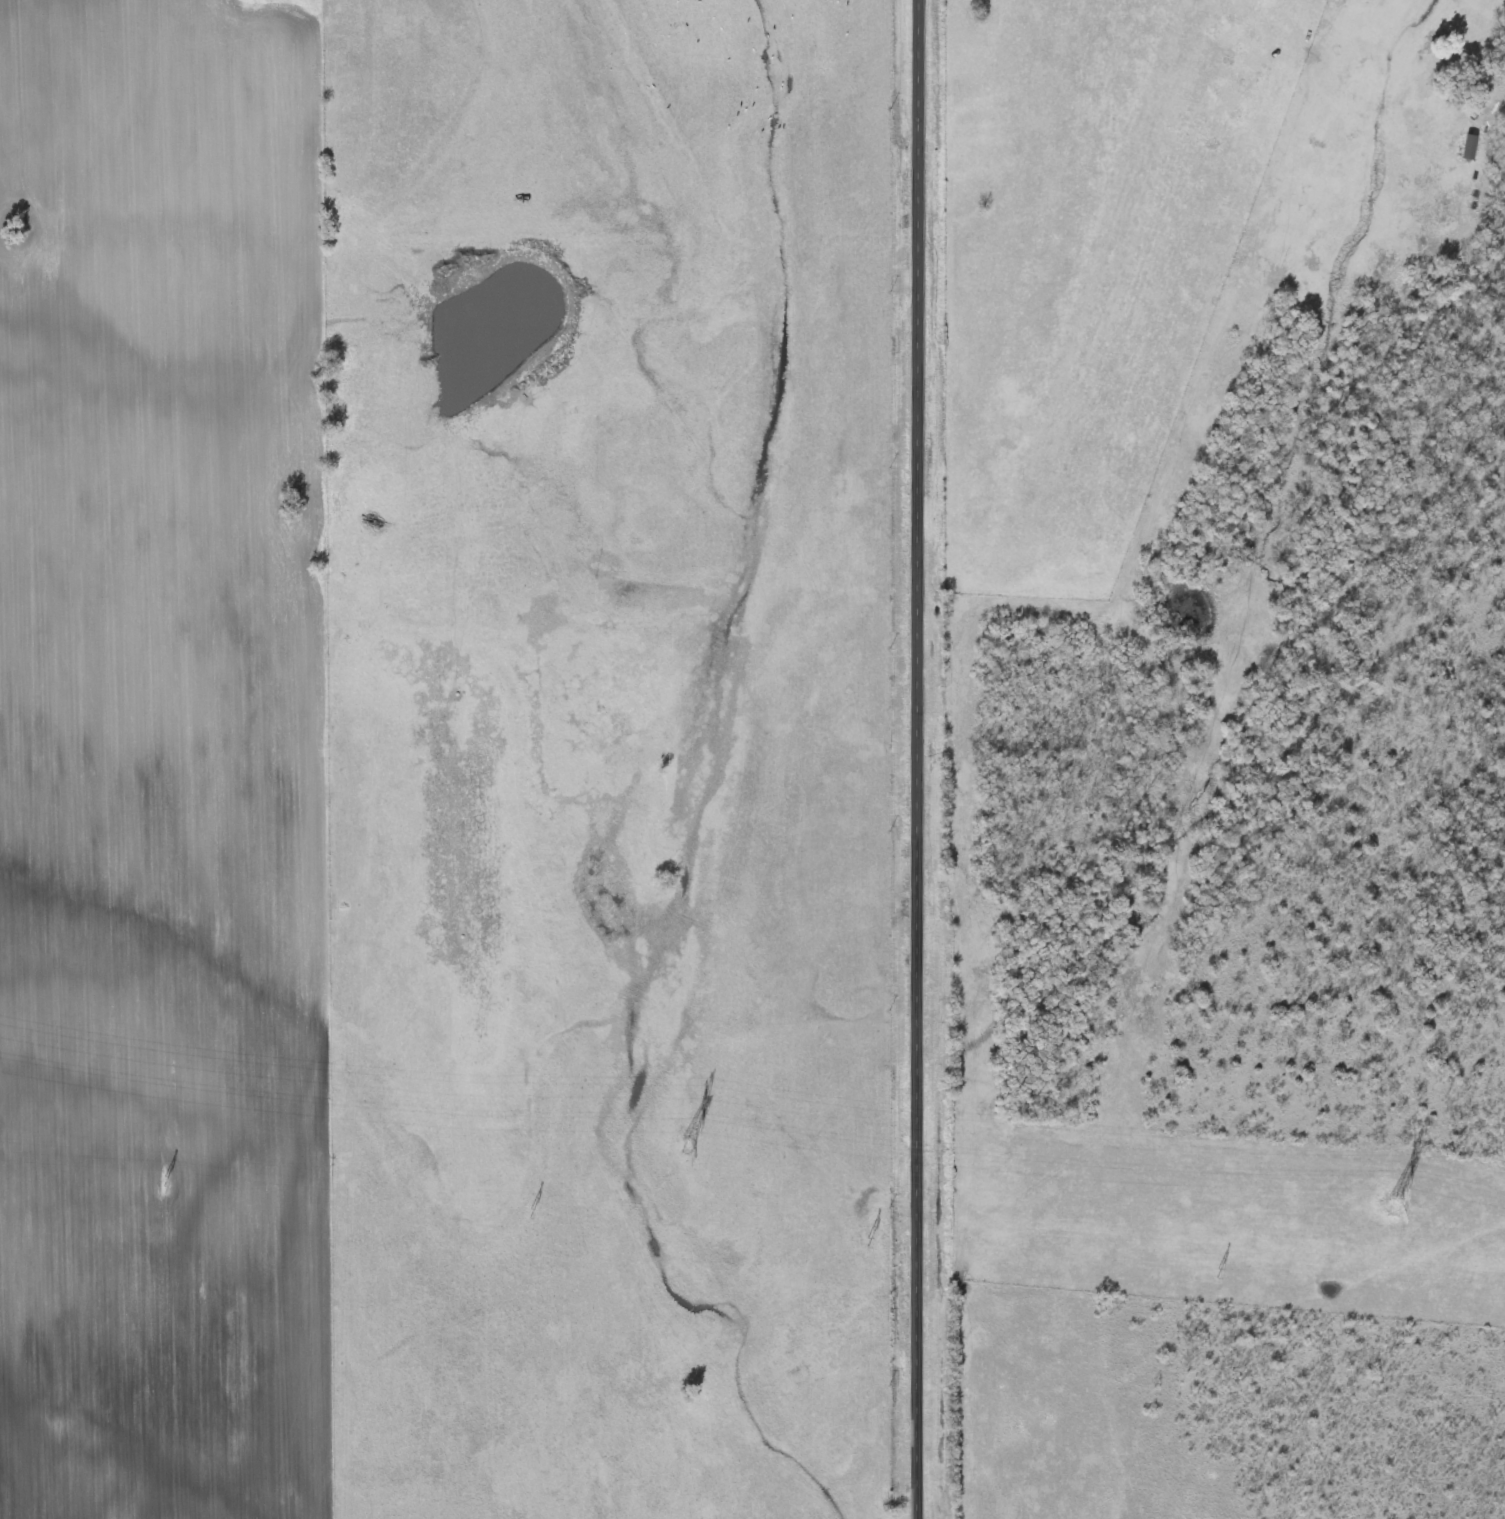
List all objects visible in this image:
road: (916, 759)
power tower: (687, 1144)
power tower: (1393, 1206)

